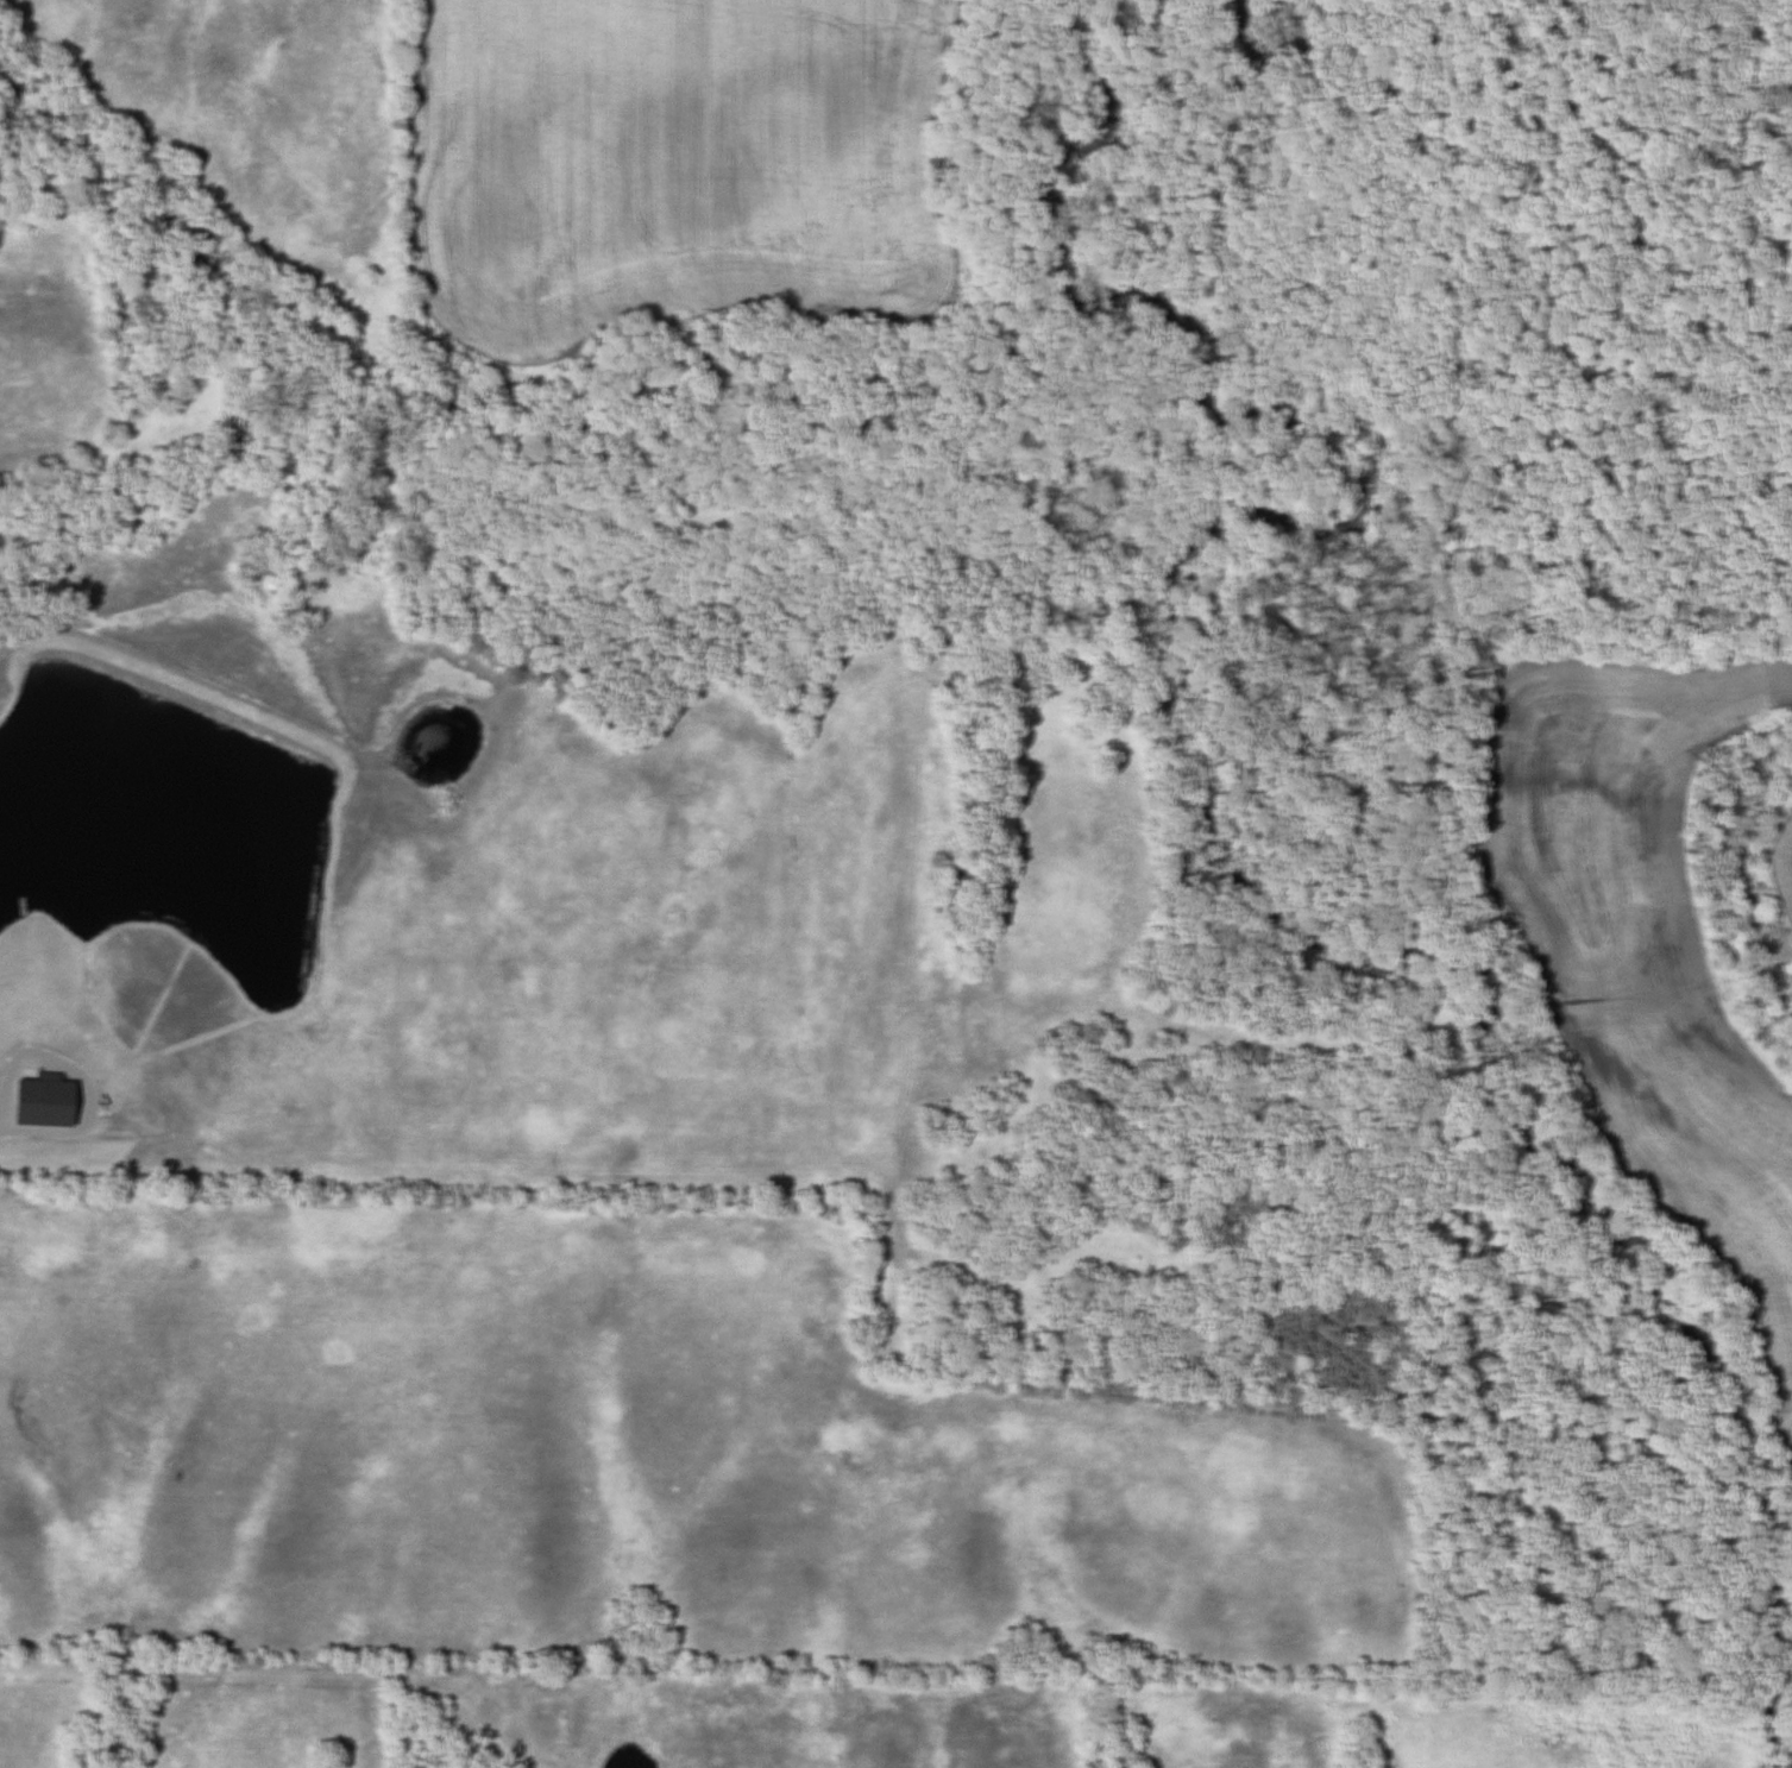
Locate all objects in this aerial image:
building: (43, 1101)
building: (543, 1731)

